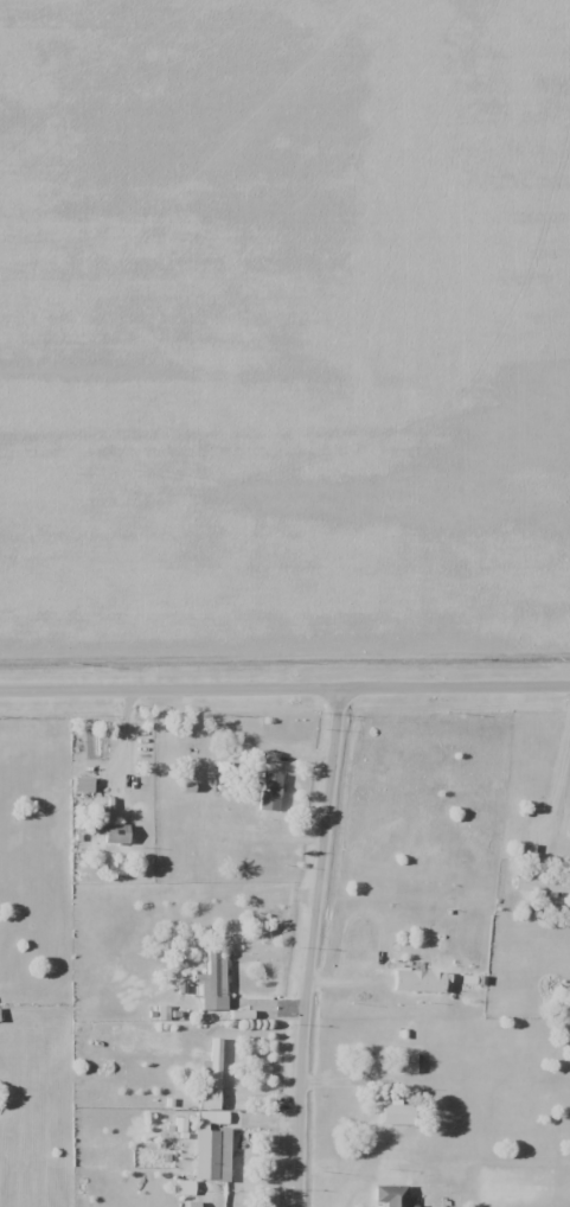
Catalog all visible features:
road: (284, 689)
building: (82, 785)
building: (261, 794)
building: (190, 819)
building: (113, 834)
building: (534, 873)
road: (309, 946)
building: (212, 981)
building: (416, 981)
building: (405, 1062)
building: (211, 1078)
building: (395, 1115)
building: (211, 1154)
building: (390, 1195)

